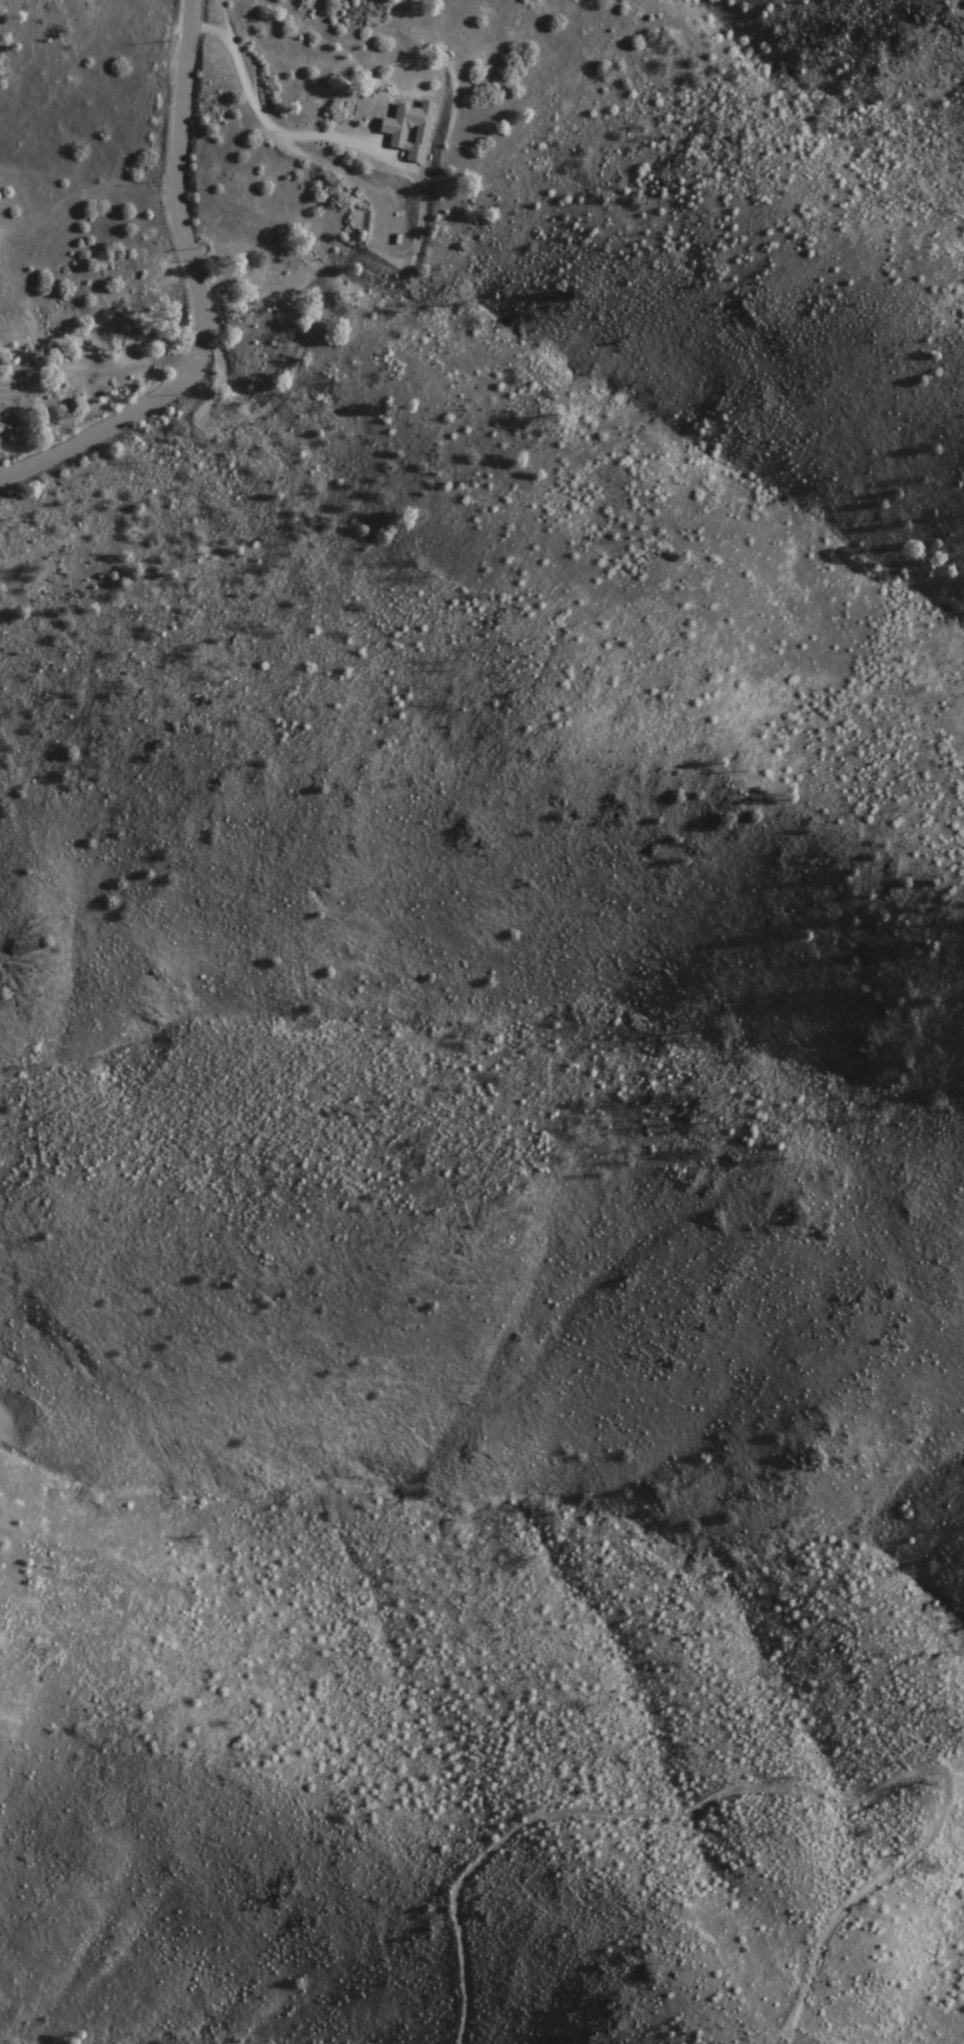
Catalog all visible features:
building: (412, 130)
road: (202, 299)

